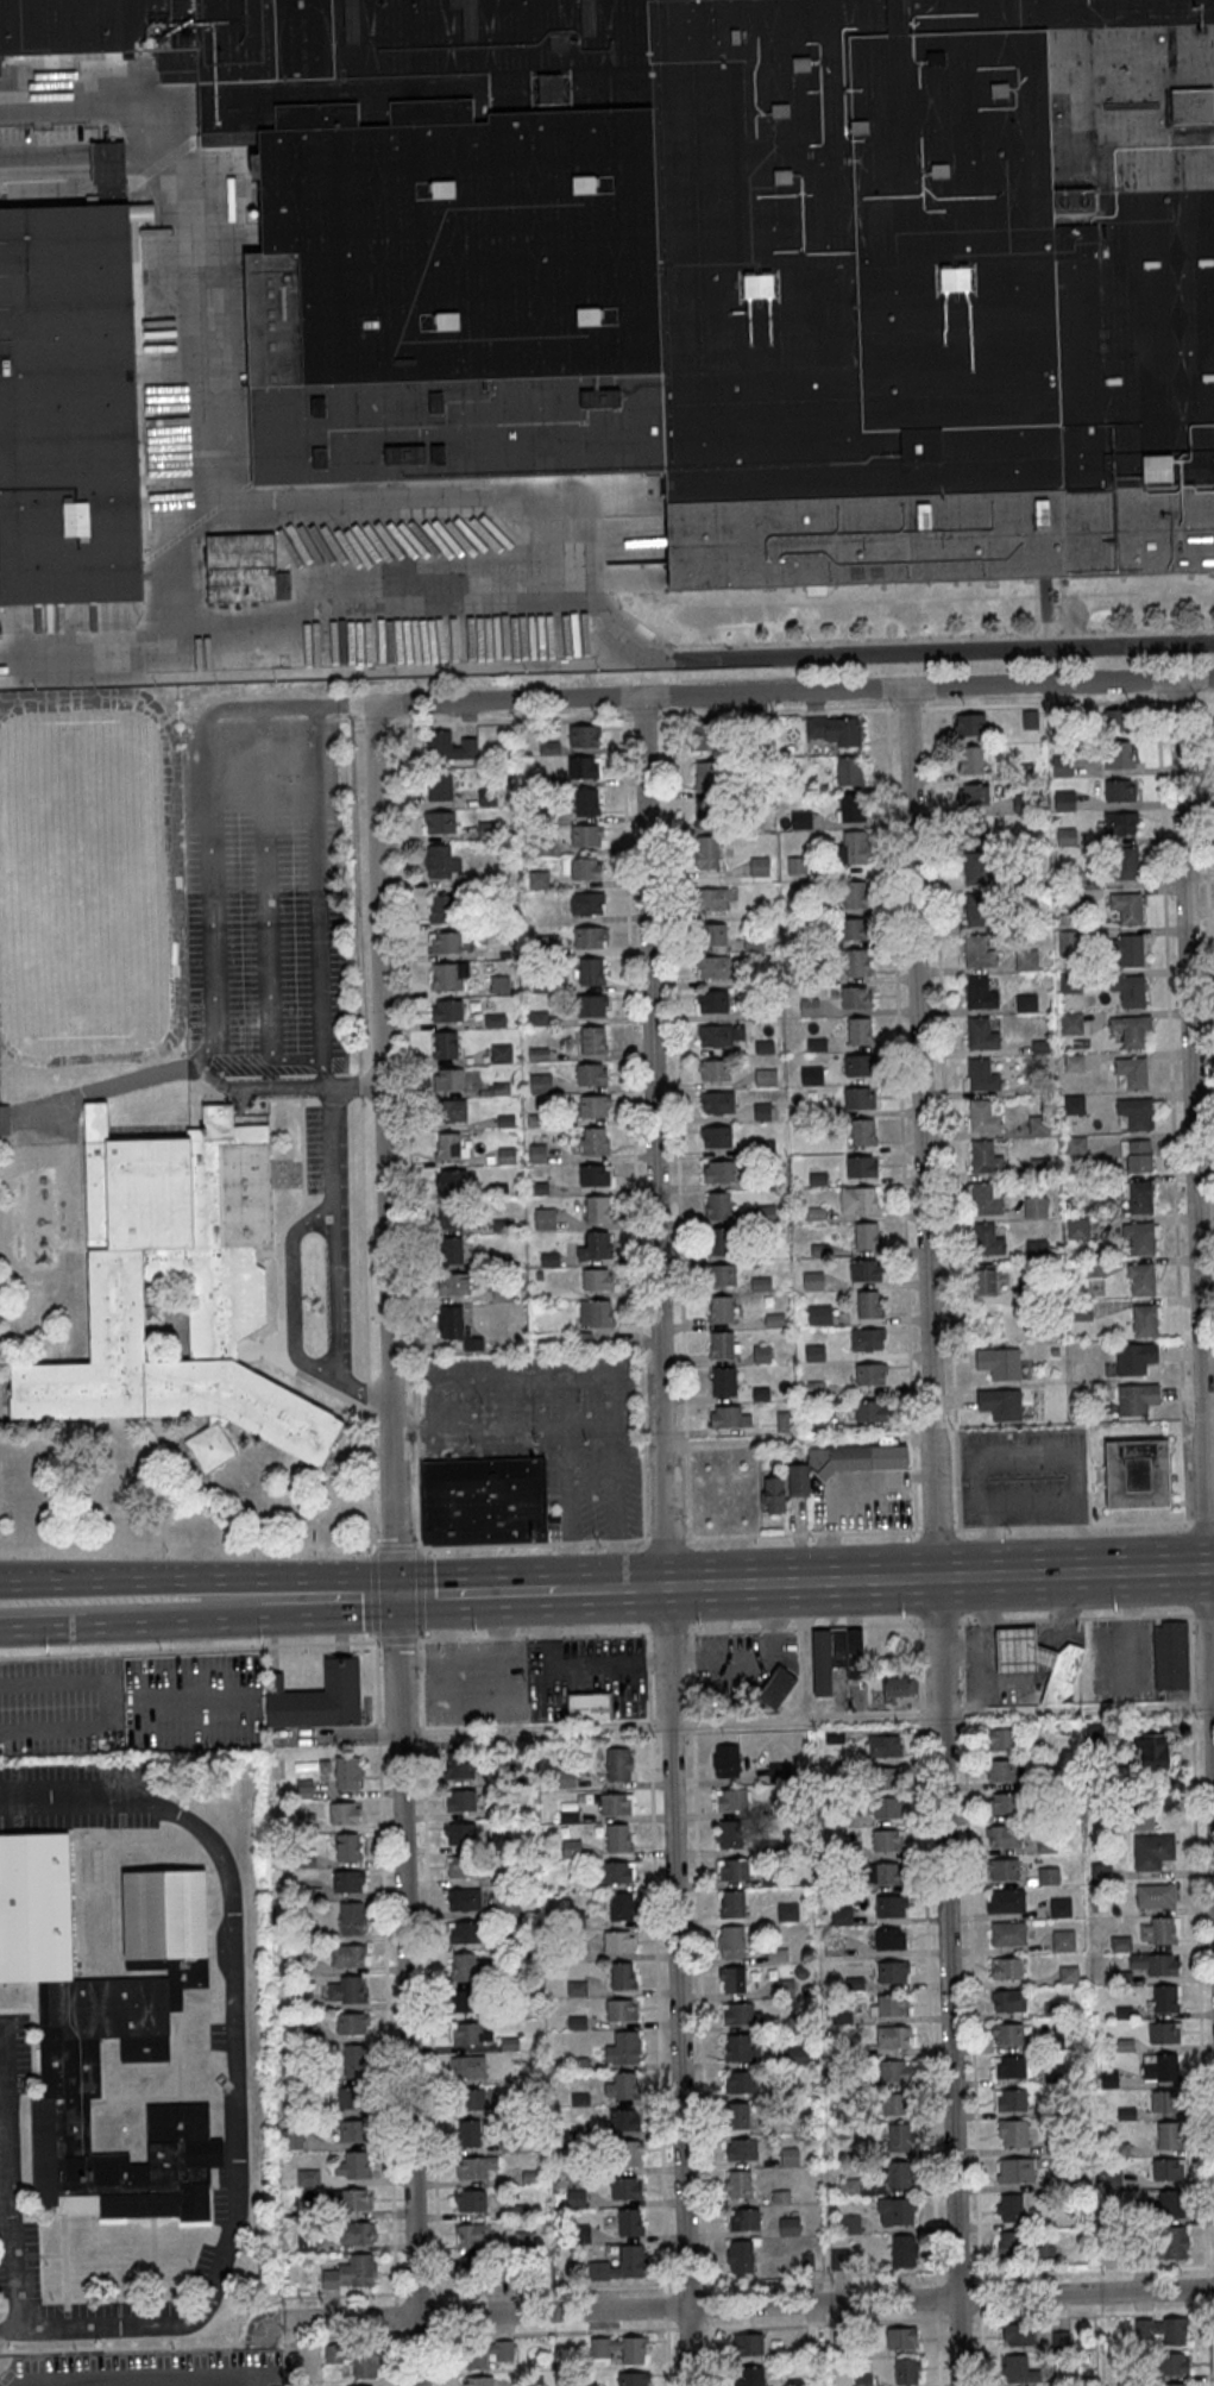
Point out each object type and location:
road: (96, 109)
building: (106, 163)
road: (80, 164)
road: (106, 164)
road: (36, 165)
road: (70, 174)
road: (32, 184)
building: (731, 262)
building: (68, 413)
road: (560, 507)
building: (244, 569)
road: (804, 691)
road: (229, 709)
building: (1118, 718)
building: (970, 726)
building: (832, 729)
building: (584, 735)
building: (704, 736)
building: (448, 746)
building: (1118, 753)
building: (970, 760)
building: (1064, 765)
building: (583, 767)
building: (849, 770)
building: (705, 776)
building: (439, 785)
building: (1120, 790)
building: (973, 795)
building: (1064, 800)
building: (586, 802)
building: (850, 808)
building: (706, 812)
building: (801, 820)
building: (439, 821)
building: (1118, 823)
building: (974, 829)
building: (585, 835)
road: (317, 848)
building: (851, 848)
building: (706, 852)
building: (441, 862)
building: (1124, 862)
building: (759, 866)
building: (977, 867)
building: (585, 868)
building: (539, 880)
building: (854, 893)
building: (712, 898)
building: (586, 903)
building: (1126, 908)
building: (444, 909)
building: (979, 910)
building: (854, 928)
road: (215, 929)
building: (715, 934)
building: (589, 937)
building: (445, 942)
building: (1069, 942)
building: (1127, 948)
building: (980, 952)
building: (857, 962)
building: (713, 967)
building: (590, 972)
building: (447, 977)
building: (1069, 981)
building: (1128, 990)
building: (980, 992)
building: (856, 997)
building: (713, 1000)
building: (1026, 1003)
building: (591, 1005)
building: (807, 1005)
building: (447, 1010)
building: (1070, 1022)
building: (1128, 1029)
building: (860, 1031)
building: (721, 1034)
building: (981, 1034)
building: (592, 1038)
building: (445, 1044)
building: (857, 1066)
building: (713, 1069)
building: (1132, 1072)
building: (591, 1074)
building: (981, 1074)
building: (811, 1075)
building: (766, 1076)
building: (448, 1078)
building: (539, 1082)
road: (264, 1086)
road: (356, 1086)
building: (858, 1099)
building: (716, 1101)
building: (1075, 1105)
building: (593, 1106)
building: (451, 1110)
building: (1136, 1112)
building: (983, 1114)
building: (4, 1119)
building: (1038, 1125)
building: (862, 1132)
building: (716, 1136)
building: (591, 1142)
road: (653, 1142)
building: (449, 1147)
building: (763, 1149)
building: (985, 1157)
building: (1138, 1157)
building: (861, 1166)
building: (719, 1172)
building: (595, 1174)
building: (451, 1179)
building: (986, 1198)
building: (1139, 1198)
building: (858, 1199)
building: (717, 1205)
building: (1034, 1206)
building: (597, 1208)
building: (449, 1214)
building: (545, 1218)
road: (332, 1223)
building: (1078, 1227)
building: (866, 1235)
building: (988, 1237)
building: (1139, 1238)
building: (717, 1239)
building: (596, 1247)
building: (1036, 1247)
building: (451, 1249)
road: (1196, 1257)
building: (864, 1269)
building: (722, 1274)
building: (597, 1279)
building: (1141, 1279)
building: (812, 1280)
building: (982, 1281)
building: (453, 1283)
road: (293, 1293)
building: (227, 1304)
building: (868, 1304)
building: (721, 1310)
building: (596, 1312)
building: (819, 1314)
building: (1144, 1320)
building: (455, 1326)
building: (868, 1338)
building: (580, 1339)
building: (721, 1345)
building: (814, 1352)
building: (1134, 1357)
building: (999, 1362)
building: (870, 1374)
building: (723, 1381)
road: (360, 1390)
building: (1137, 1398)
building: (1000, 1402)
building: (870, 1409)
building: (728, 1417)
building: (785, 1421)
building: (818, 1424)
road: (559, 1427)
road: (797, 1443)
building: (844, 1463)
building: (1138, 1473)
road: (370, 1481)
road: (615, 1484)
building: (774, 1495)
building: (483, 1501)
road: (1200, 1520)
road: (800, 1534)
road: (935, 1537)
road: (394, 1540)
road: (395, 1549)
road: (372, 1551)
road: (420, 1551)
road: (939, 1577)
road: (254, 1578)
road: (84, 1581)
road: (367, 1587)
road: (641, 1588)
road: (581, 1589)
road: (604, 1589)
road: (567, 1590)
road: (420, 1593)
road: (478, 1593)
road: (373, 1594)
traffic signals: (395, 1596)
road: (332, 1616)
road: (171, 1622)
road: (939, 1622)
road: (38, 1626)
road: (377, 1640)
road: (397, 1640)
road: (188, 1649)
building: (1021, 1651)
building: (1171, 1654)
building: (835, 1656)
parking lot: (1121, 1660)
building: (1062, 1676)
building: (776, 1685)
building: (899, 1689)
building: (317, 1696)
building: (589, 1706)
road: (1212, 1707)
road: (804, 1722)
building: (1000, 1739)
building: (882, 1745)
building: (1151, 1751)
building: (725, 1760)
building: (618, 1764)
building: (459, 1765)
building: (325, 1766)
building: (779, 1771)
building: (1000, 1771)
building: (347, 1772)
building: (887, 1777)
building: (566, 1779)
building: (731, 1798)
building: (459, 1801)
building: (615, 1803)
building: (1002, 1804)
building: (887, 1807)
building: (345, 1812)
building: (459, 1834)
building: (725, 1834)
road: (923, 1835)
building: (1006, 1835)
building: (618, 1836)
building: (888, 1839)
building: (346, 1847)
building: (570, 1847)
building: (1152, 1850)
building: (461, 1867)
building: (1002, 1867)
building: (734, 1869)
road: (697, 1870)
building: (616, 1871)
building: (882, 1873)
building: (1048, 1875)
building: (347, 1880)
road: (969, 1890)
building: (1156, 1894)
building: (463, 1898)
building: (1006, 1900)
building: (732, 1903)
building: (621, 1905)
building: (891, 1905)
building: (1059, 1907)
building: (787, 1911)
building: (842, 1915)
building: (351, 1917)
building: (1159, 1930)
building: (465, 1932)
building: (1008, 1933)
building: (889, 1939)
building: (1063, 1940)
building: (618, 1941)
building: (731, 1941)
building: (1121, 1942)
building: (832, 1946)
building: (778, 1953)
building: (347, 1954)
building: (1157, 1963)
building: (468, 1966)
building: (1007, 1967)
building: (892, 1971)
building: (1068, 1973)
building: (622, 1976)
building: (1122, 1977)
building: (731, 1979)
building: (854, 1982)
road: (677, 1986)
road: (1199, 1986)
building: (577, 1988)
building: (785, 1988)
building: (346, 1989)
building: (1164, 1997)
building: (1008, 1999)
building: (465, 2001)
building: (892, 2004)
road: (429, 2009)
building: (621, 2009)
road: (658, 2009)
building: (1053, 2009)
road: (386, 2010)
building: (1124, 2011)
building: (738, 2014)
building: (841, 2014)
building: (577, 2022)
building: (352, 2023)
building: (1164, 2032)
building: (107, 2033)
building: (470, 2033)
building: (1007, 2033)
building: (892, 2035)
building: (1053, 2041)
building: (510, 2042)
building: (1126, 2043)
building: (623, 2048)
building: (737, 2048)
building: (798, 2054)
building: (354, 2060)
road: (234, 2061)
building: (468, 2066)
building: (1009, 2066)
building: (1159, 2066)
building: (894, 2070)
building: (1108, 2078)
building: (740, 2082)
building: (622, 2086)
building: (352, 2097)
building: (1011, 2098)
building: (478, 2099)
building: (1166, 2101)
building: (895, 2103)
building: (1126, 2114)
building: (737, 2115)
building: (623, 2118)
building: (354, 2130)
building: (1013, 2131)
building: (468, 2134)
building: (1169, 2135)
building: (898, 2136)
building: (742, 2148)
building: (1120, 2148)
building: (631, 2153)
building: (474, 2166)
building: (353, 2167)
building: (1169, 2168)
building: (1017, 2170)
building: (895, 2174)
building: (1113, 2178)
building: (740, 2183)
building: (625, 2186)
building: (848, 2187)
building: (356, 2198)
building: (575, 2198)
building: (470, 2199)
building: (1169, 2203)
building: (1009, 2209)
building: (894, 2210)
building: (743, 2218)
road: (10, 2219)
building: (630, 2221)
building: (849, 2223)
building: (788, 2224)
building: (356, 2231)
building: (472, 2234)
parking lot: (15, 2240)
building: (1174, 2242)
building: (1009, 2244)
building: (902, 2249)
building: (741, 2255)
building: (619, 2265)
building: (478, 2269)
building: (351, 2274)
road: (749, 2281)
road: (747, 2304)
road: (749, 2325)
road: (263, 2327)
building: (1162, 2329)
road: (937, 2330)
road: (7, 2332)
building: (1020, 2334)
building: (901, 2337)
building: (747, 2344)
street lamp: (279, 2348)
building: (618, 2348)
building: (489, 2353)
building: (363, 2361)
building: (1169, 2363)
building: (1015, 2368)
building: (905, 2372)
building: (747, 2375)
building: (634, 2378)
building: (863, 2379)
building: (478, 2380)
building: (797, 2381)
building: (586, 2384)
building: (1176, 2384)
building: (360, 2385)

